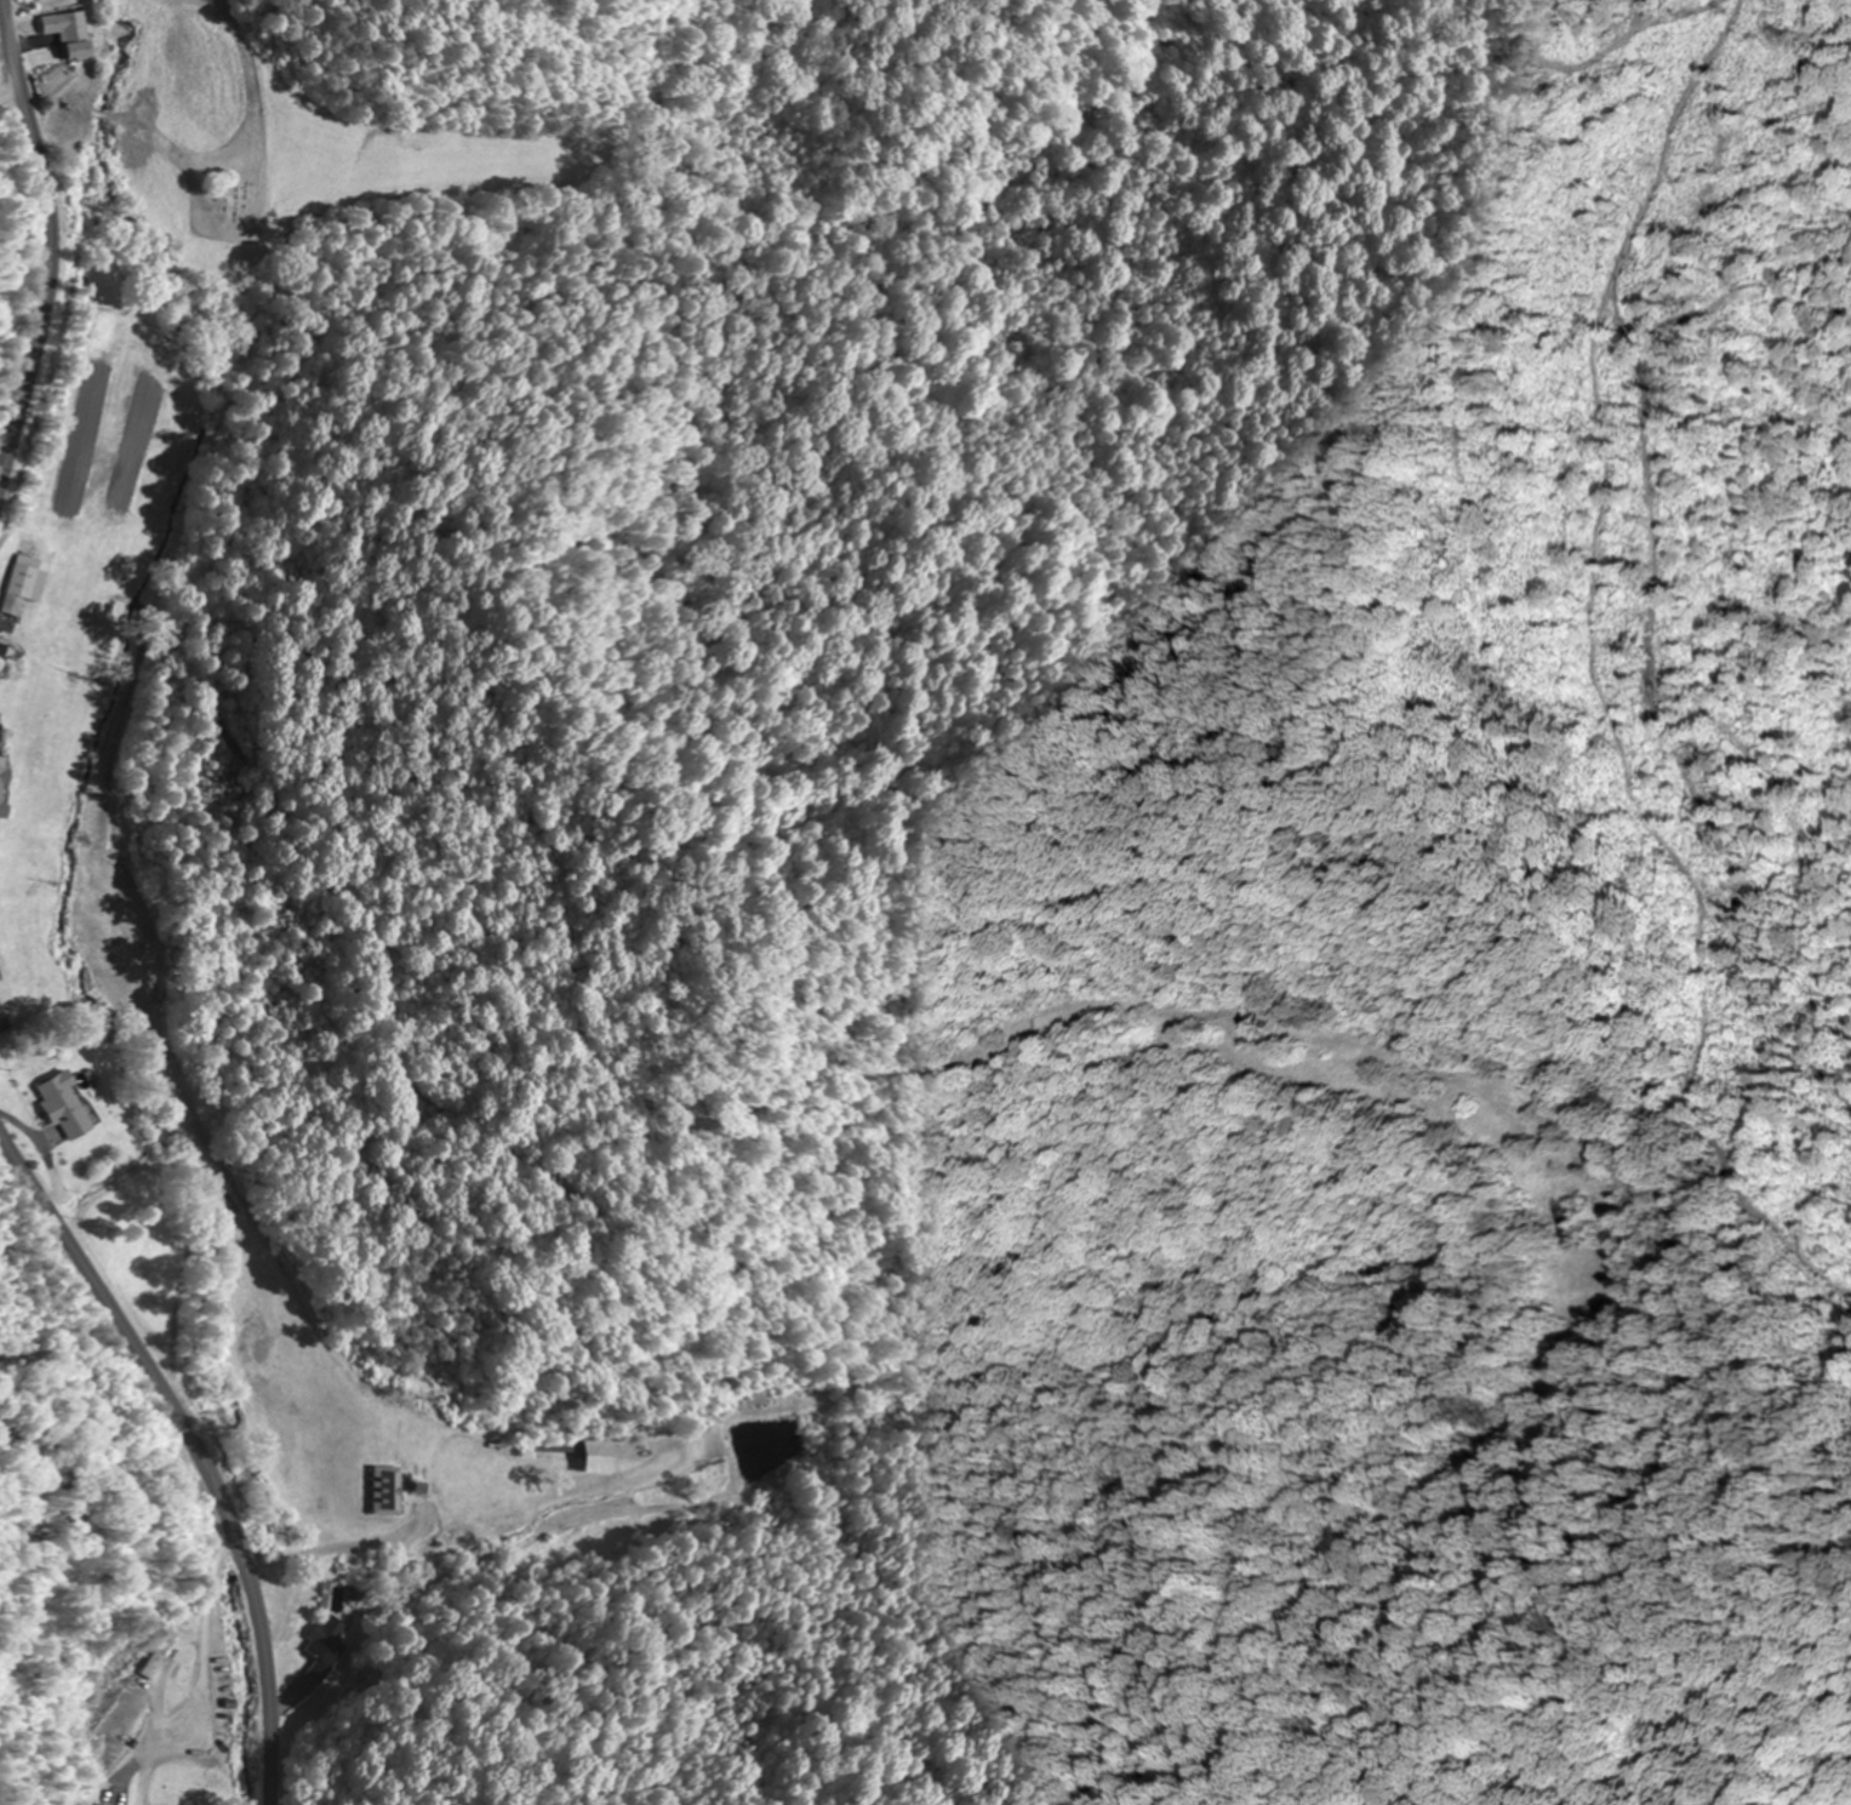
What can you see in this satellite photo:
building: (70, 32)
road: (50, 239)
building: (23, 584)
building: (4, 790)
building: (67, 1108)
road: (196, 1443)
building: (584, 1451)
building: (387, 1491)
road: (624, 1510)
building: (165, 1645)
building: (322, 1647)
building: (104, 1804)

